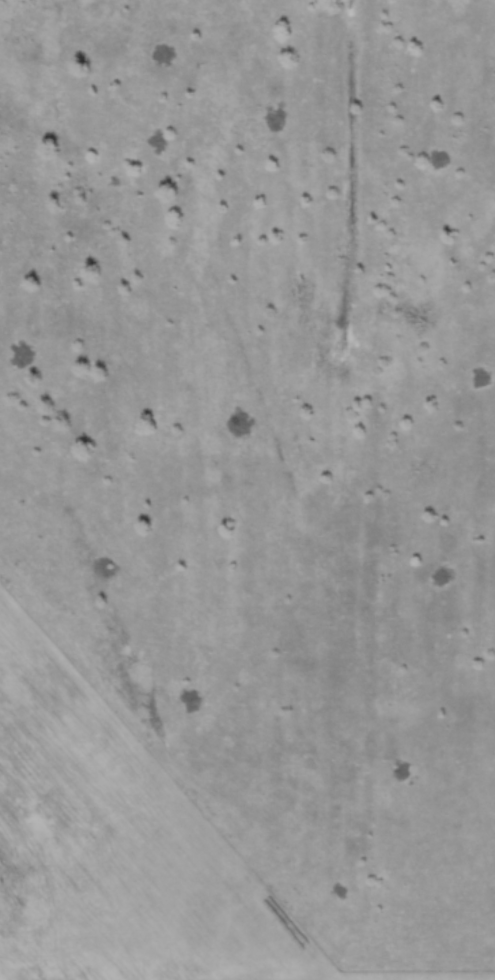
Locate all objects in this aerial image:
airport: (119, 849)

